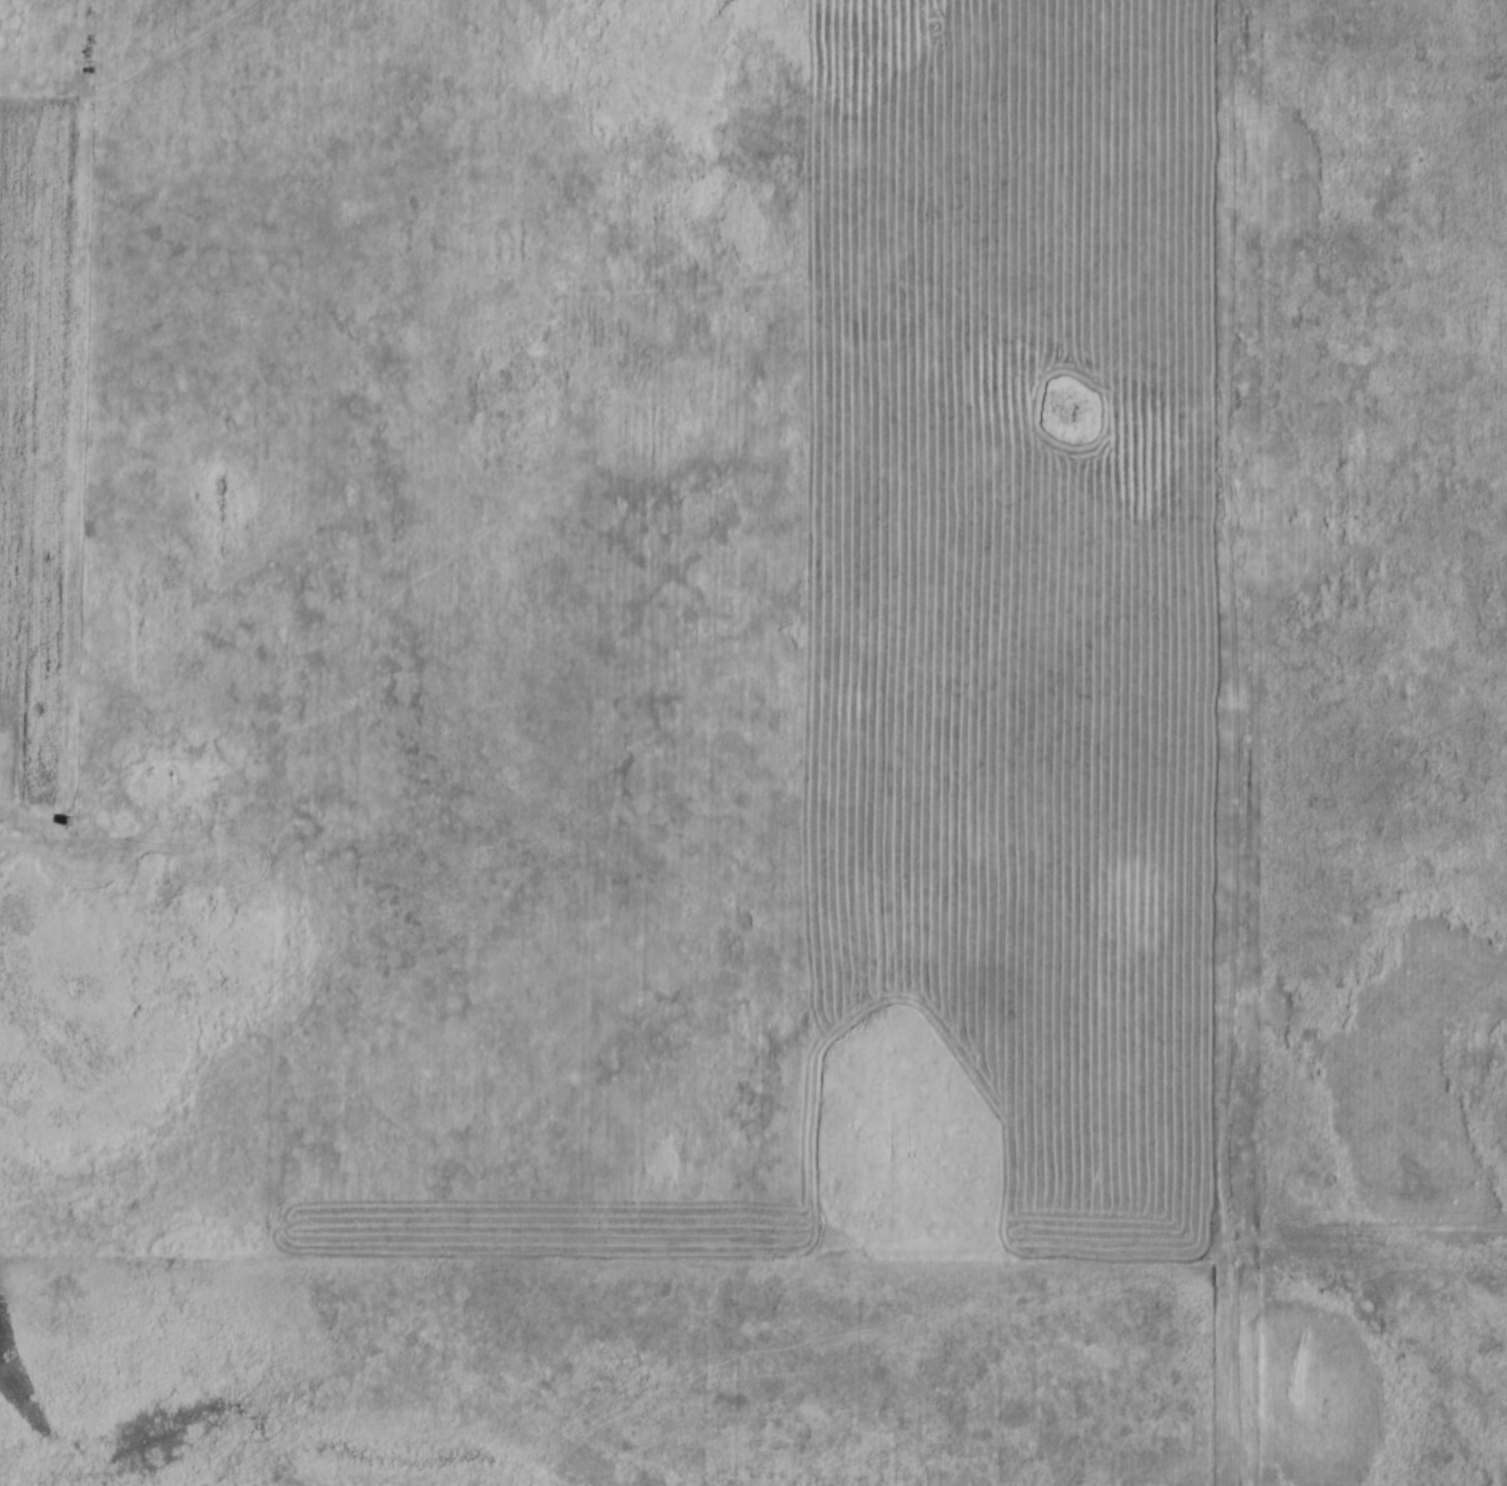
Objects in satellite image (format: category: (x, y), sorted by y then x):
road: (1232, 743)

